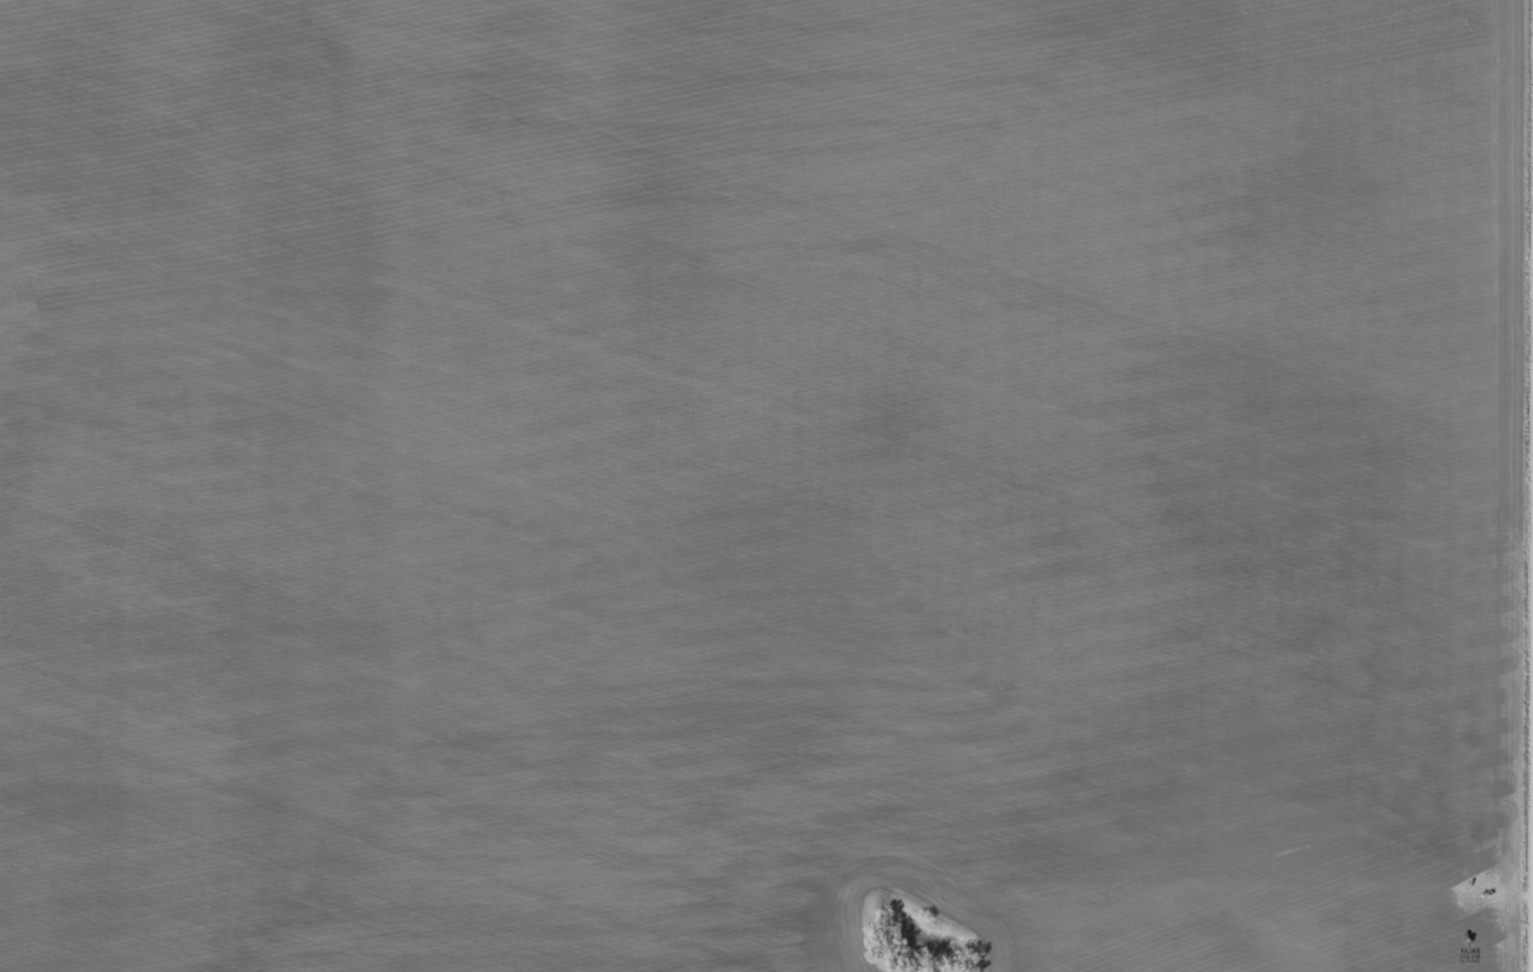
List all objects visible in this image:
road: (1509, 485)

